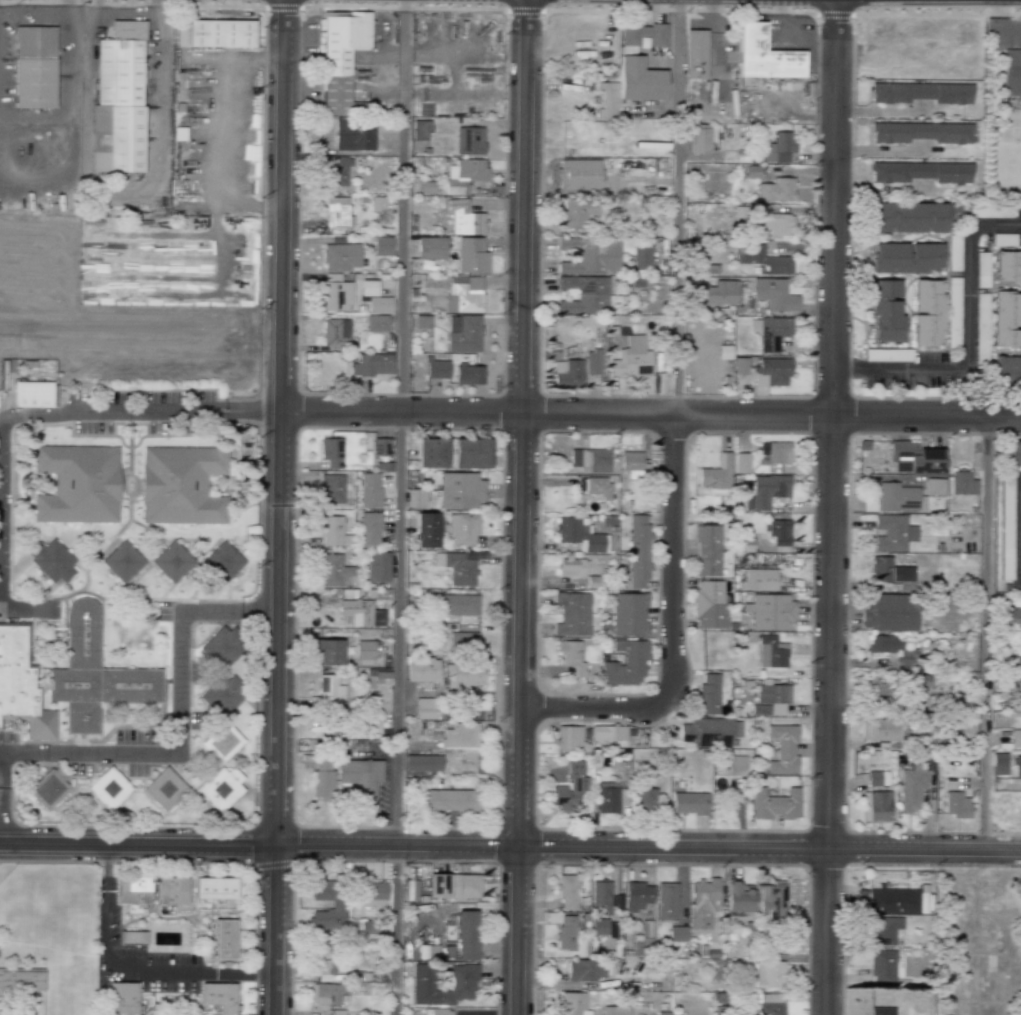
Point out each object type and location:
street lamp: (310, 1)
street lamp: (415, 5)
street lamp: (495, 6)
street lamp: (551, 7)
street lamp: (766, 8)
road: (999, 24)
building: (220, 33)
building: (642, 35)
building: (695, 54)
building: (764, 55)
building: (340, 56)
building: (34, 67)
building: (1011, 72)
building: (639, 80)
building: (920, 93)
building: (118, 100)
building: (607, 100)
road: (887, 110)
road: (69, 125)
building: (420, 130)
building: (920, 132)
building: (353, 135)
building: (469, 140)
building: (699, 140)
building: (779, 148)
building: (337, 171)
building: (921, 172)
building: (579, 174)
building: (464, 175)
building: (776, 189)
building: (378, 203)
road: (401, 206)
road: (675, 207)
building: (336, 212)
building: (576, 212)
building: (912, 217)
building: (464, 218)
building: (776, 223)
building: (382, 246)
building: (431, 247)
building: (340, 255)
building: (590, 255)
building: (471, 256)
building: (641, 256)
building: (906, 257)
building: (765, 260)
building: (1007, 266)
building: (367, 287)
building: (336, 293)
building: (464, 293)
building: (717, 293)
building: (583, 294)
building: (774, 294)
building: (379, 305)
building: (885, 311)
building: (927, 312)
building: (1006, 319)
building: (377, 323)
building: (335, 332)
building: (771, 332)
building: (463, 333)
road: (966, 338)
building: (632, 358)
building: (593, 362)
building: (374, 364)
building: (739, 366)
building: (437, 368)
building: (1007, 370)
building: (771, 371)
building: (568, 373)
building: (468, 374)
building: (32, 394)
road: (137, 410)
road: (649, 414)
street lamp: (540, 439)
building: (380, 447)
building: (331, 452)
building: (773, 452)
building: (431, 453)
building: (470, 453)
building: (1014, 453)
building: (915, 458)
building: (590, 460)
building: (741, 462)
building: (631, 464)
building: (717, 476)
building: (77, 483)
building: (963, 483)
building: (181, 485)
building: (595, 486)
building: (935, 486)
building: (331, 488)
building: (768, 489)
building: (369, 490)
building: (460, 490)
building: (897, 497)
building: (416, 498)
road: (278, 507)
road: (519, 507)
road: (829, 507)
road: (1018, 520)
building: (462, 528)
building: (369, 529)
building: (426, 530)
building: (334, 532)
building: (779, 532)
building: (578, 533)
building: (893, 533)
road: (674, 544)
building: (707, 550)
building: (638, 551)
building: (51, 561)
building: (122, 561)
building: (172, 561)
building: (222, 562)
building: (378, 567)
building: (456, 567)
building: (571, 567)
building: (881, 569)
building: (334, 571)
building: (759, 579)
building: (456, 604)
building: (710, 604)
building: (356, 611)
building: (771, 611)
road: (27, 612)
building: (888, 612)
building: (572, 614)
building: (628, 614)
building: (1011, 617)
road: (400, 628)
road: (987, 633)
building: (462, 640)
building: (890, 649)
building: (326, 652)
building: (365, 652)
building: (771, 652)
building: (571, 656)
building: (1017, 663)
building: (626, 664)
building: (422, 670)
building: (221, 671)
building: (92, 673)
building: (381, 675)
building: (462, 676)
building: (21, 685)
building: (918, 690)
building: (330, 691)
building: (707, 695)
road: (605, 706)
building: (880, 730)
building: (608, 732)
building: (710, 732)
road: (189, 733)
building: (459, 735)
building: (568, 738)
building: (1015, 738)
building: (222, 742)
building: (782, 749)
building: (423, 762)
building: (999, 763)
building: (735, 765)
building: (1017, 766)
road: (0, 767)
building: (322, 776)
building: (873, 778)
building: (360, 780)
building: (221, 787)
building: (48, 788)
building: (108, 788)
building: (911, 788)
building: (164, 789)
building: (569, 789)
building: (610, 797)
building: (645, 799)
building: (449, 800)
building: (689, 803)
building: (775, 804)
building: (956, 805)
building: (879, 806)
road: (510, 845)
building: (453, 885)
building: (215, 888)
building: (132, 890)
building: (410, 890)
building: (170, 891)
building: (566, 891)
building: (373, 894)
building: (637, 895)
building: (601, 896)
building: (738, 897)
building: (771, 898)
building: (666, 901)
building: (892, 901)
building: (922, 902)
building: (336, 904)
building: (703, 905)
building: (600, 926)
road: (394, 929)
building: (880, 930)
building: (678, 933)
building: (466, 935)
building: (132, 937)
building: (224, 939)
building: (428, 951)
building: (323, 958)
road: (132, 966)
building: (881, 967)
building: (586, 970)
building: (769, 974)
building: (462, 977)
building: (987, 977)
building: (22, 981)
building: (327, 993)
building: (218, 996)
building: (123, 998)
building: (571, 1004)
building: (771, 1004)
building: (615, 1010)
building: (882, 1011)
building: (437, 1012)

